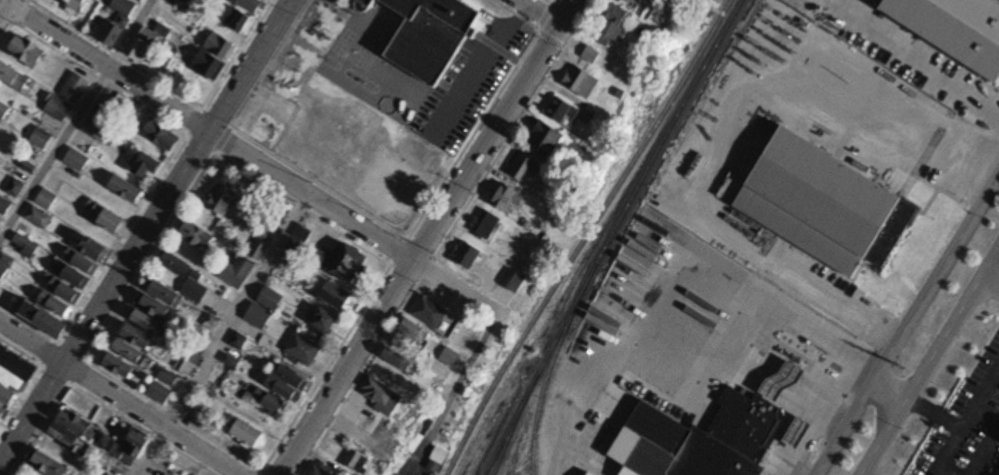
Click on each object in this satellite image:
building: (138, 1)
building: (172, 1)
building: (650, 1)
building: (629, 2)
building: (77, 5)
building: (251, 5)
building: (363, 5)
road: (5, 8)
road: (537, 14)
building: (119, 21)
building: (238, 22)
building: (612, 26)
building: (956, 28)
building: (430, 35)
building: (145, 44)
building: (27, 52)
building: (592, 55)
building: (213, 57)
road: (916, 60)
building: (14, 78)
building: (582, 82)
building: (75, 88)
building: (58, 109)
building: (4, 112)
building: (567, 113)
building: (98, 124)
road: (79, 125)
building: (161, 135)
building: (40, 139)
building: (547, 140)
building: (76, 160)
road: (256, 162)
building: (144, 165)
building: (523, 168)
building: (14, 189)
building: (126, 190)
building: (506, 198)
building: (46, 200)
building: (224, 203)
building: (825, 204)
building: (38, 218)
building: (104, 219)
building: (486, 225)
road: (144, 230)
building: (197, 236)
railway: (584, 236)
railway: (610, 236)
road: (427, 238)
building: (25, 247)
building: (85, 254)
building: (469, 257)
building: (350, 265)
building: (232, 277)
building: (76, 278)
building: (512, 281)
road: (990, 283)
building: (193, 284)
building: (336, 297)
building: (270, 300)
building: (53, 309)
building: (152, 316)
building: (258, 317)
building: (434, 317)
road: (906, 322)
building: (325, 323)
building: (210, 324)
road: (221, 335)
building: (411, 339)
building: (236, 340)
building: (132, 343)
building: (303, 350)
building: (192, 353)
building: (450, 359)
building: (398, 361)
road: (930, 363)
building: (117, 366)
power tower: (903, 368)
railway: (548, 369)
building: (16, 371)
building: (166, 377)
road: (991, 379)
building: (214, 381)
building: (288, 383)
road: (458, 386)
building: (159, 393)
road: (887, 393)
building: (380, 395)
building: (6, 397)
road: (118, 399)
building: (2, 412)
road: (933, 416)
building: (76, 423)
railway: (511, 425)
road: (963, 425)
building: (246, 434)
building: (798, 434)
building: (69, 439)
building: (699, 440)
building: (101, 441)
building: (130, 448)
road: (984, 452)
building: (359, 463)
building: (47, 465)
road: (934, 473)
road: (940, 473)

